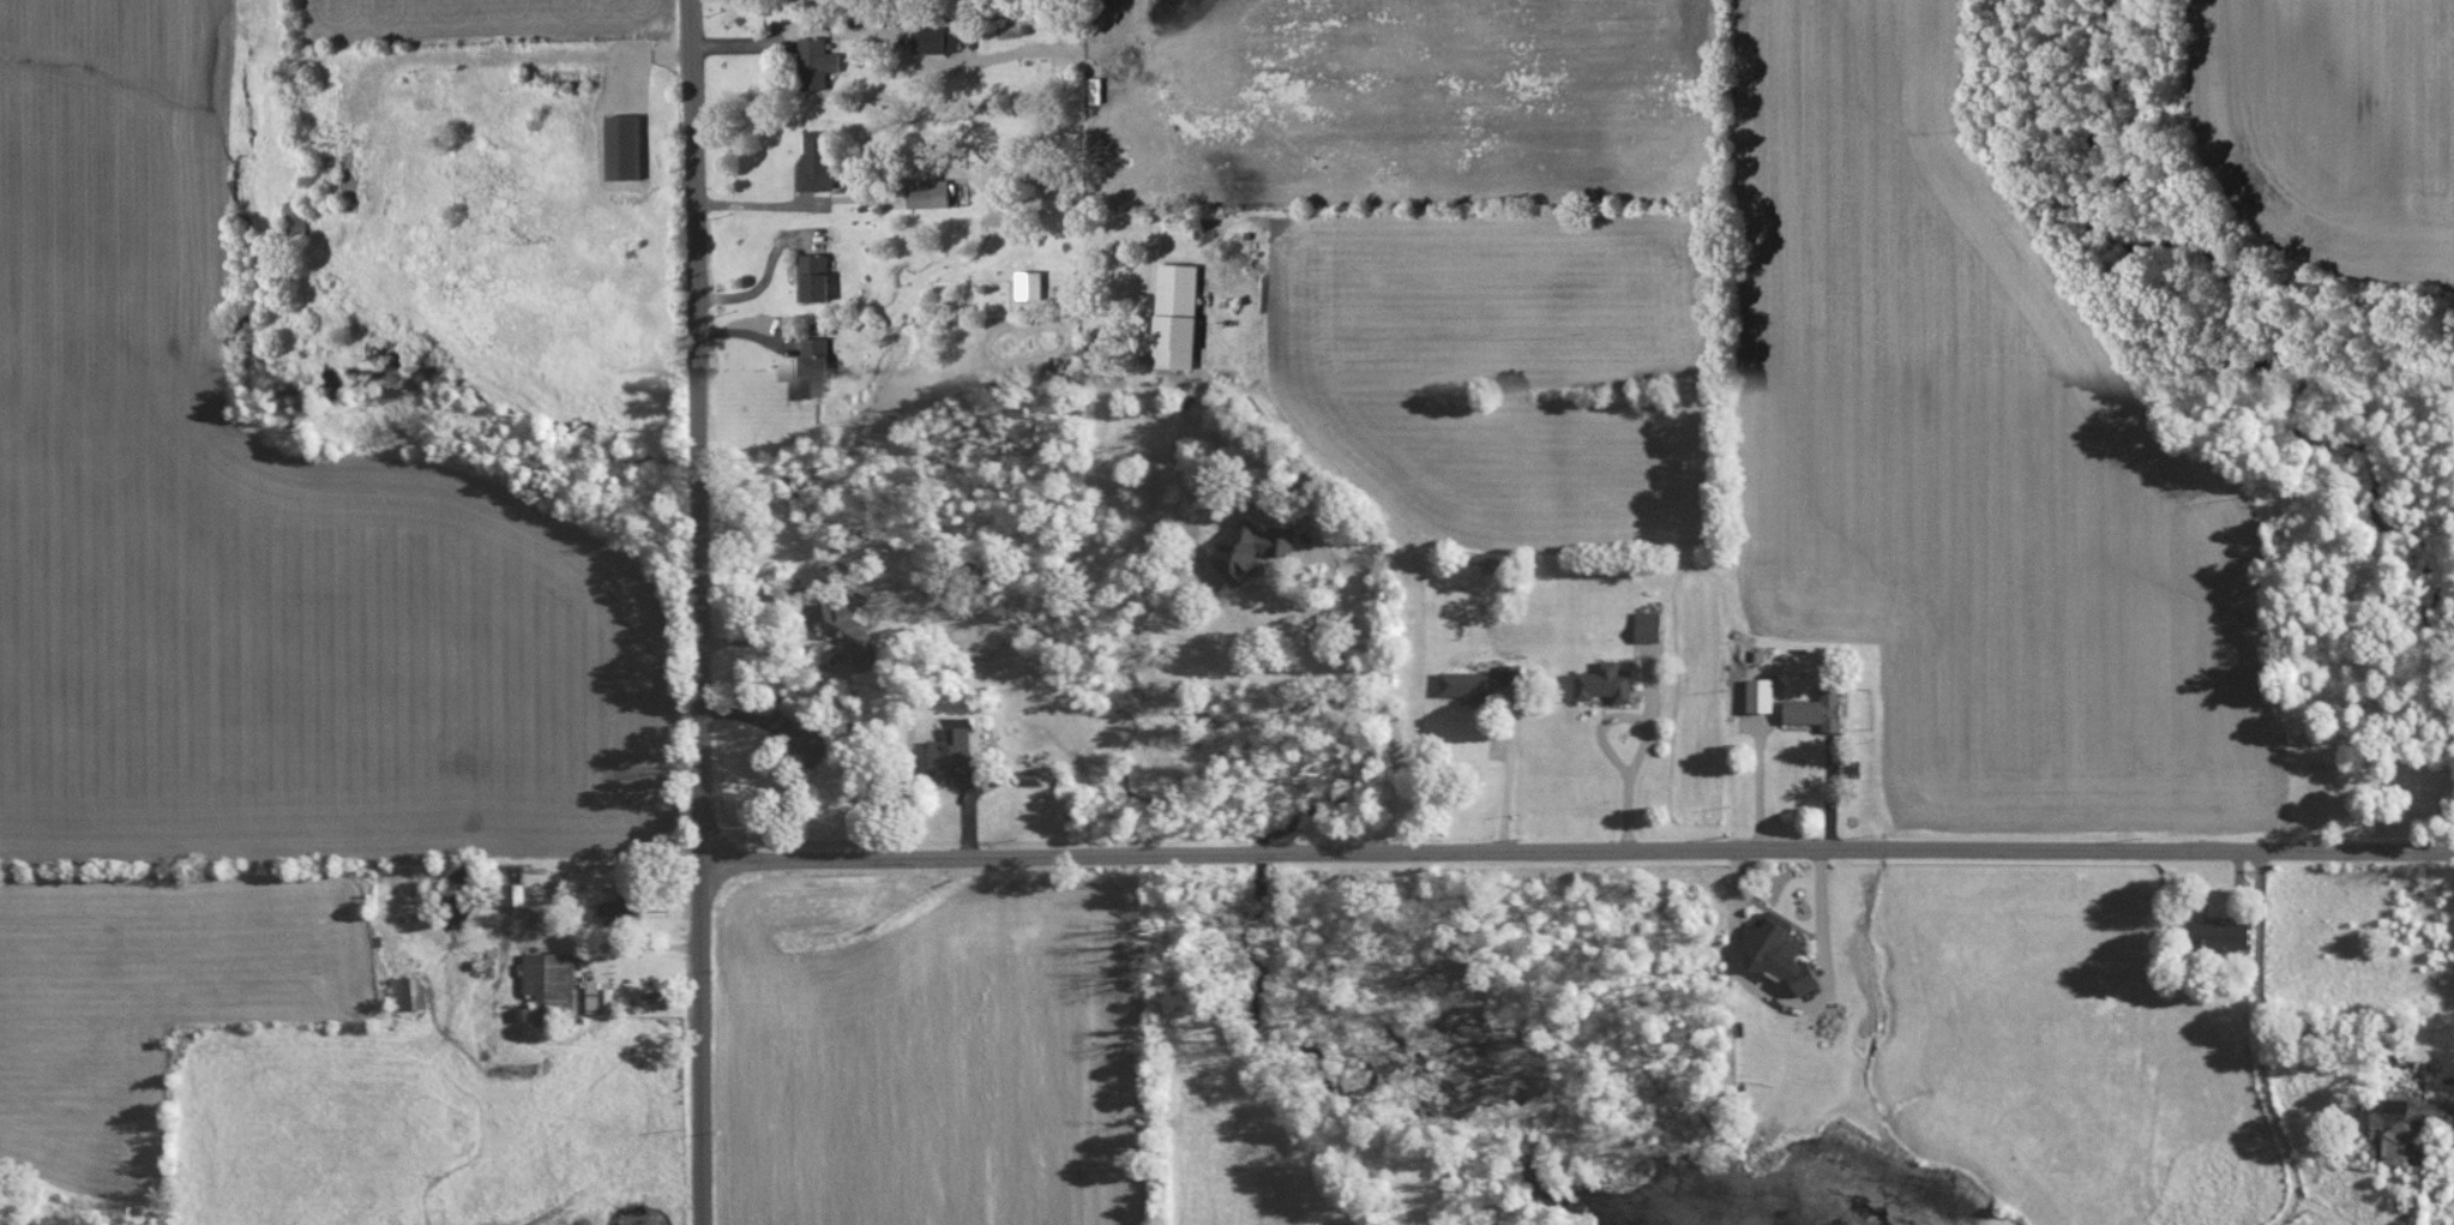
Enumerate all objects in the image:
building: (934, 40)
building: (816, 62)
building: (622, 148)
building: (814, 163)
building: (928, 196)
road: (784, 205)
building: (294, 221)
building: (812, 278)
building: (1174, 316)
building: (813, 366)
building: (1250, 548)
road: (1355, 587)
road: (702, 612)
building: (1648, 624)
building: (848, 631)
road: (777, 648)
building: (1511, 674)
building: (1605, 681)
building: (1469, 684)
building: (792, 705)
building: (1817, 708)
road: (1647, 733)
building: (813, 740)
building: (955, 752)
road: (1506, 785)
road: (1578, 849)
building: (515, 893)
building: (622, 905)
road: (552, 906)
building: (1780, 949)
building: (551, 977)
building: (409, 991)
building: (599, 997)
road: (1798, 1001)
road: (2336, 1033)
road: (2260, 1045)
building: (2404, 1122)

